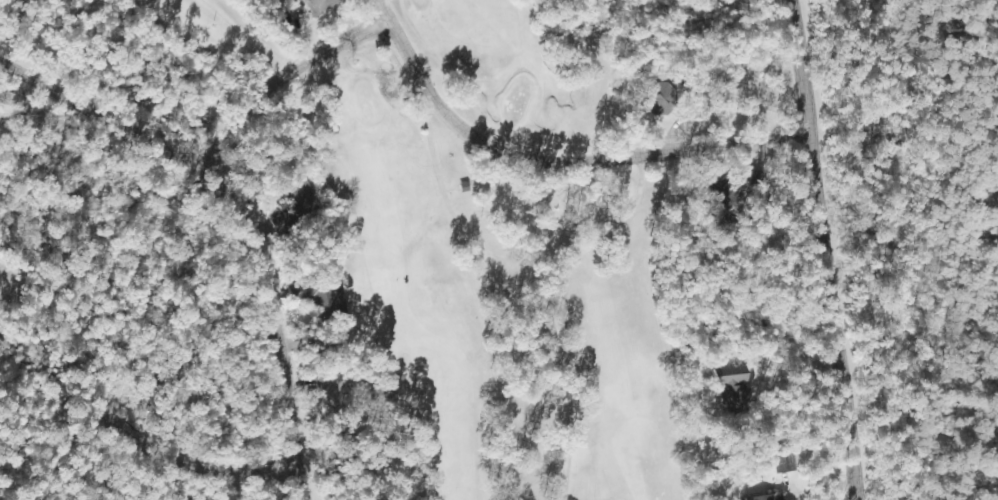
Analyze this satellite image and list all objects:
building: (313, 6)
building: (653, 99)
road: (114, 129)
road: (563, 165)
building: (744, 181)
building: (294, 199)
road: (231, 216)
road: (832, 250)
building: (317, 298)
road: (800, 367)
building: (721, 380)

